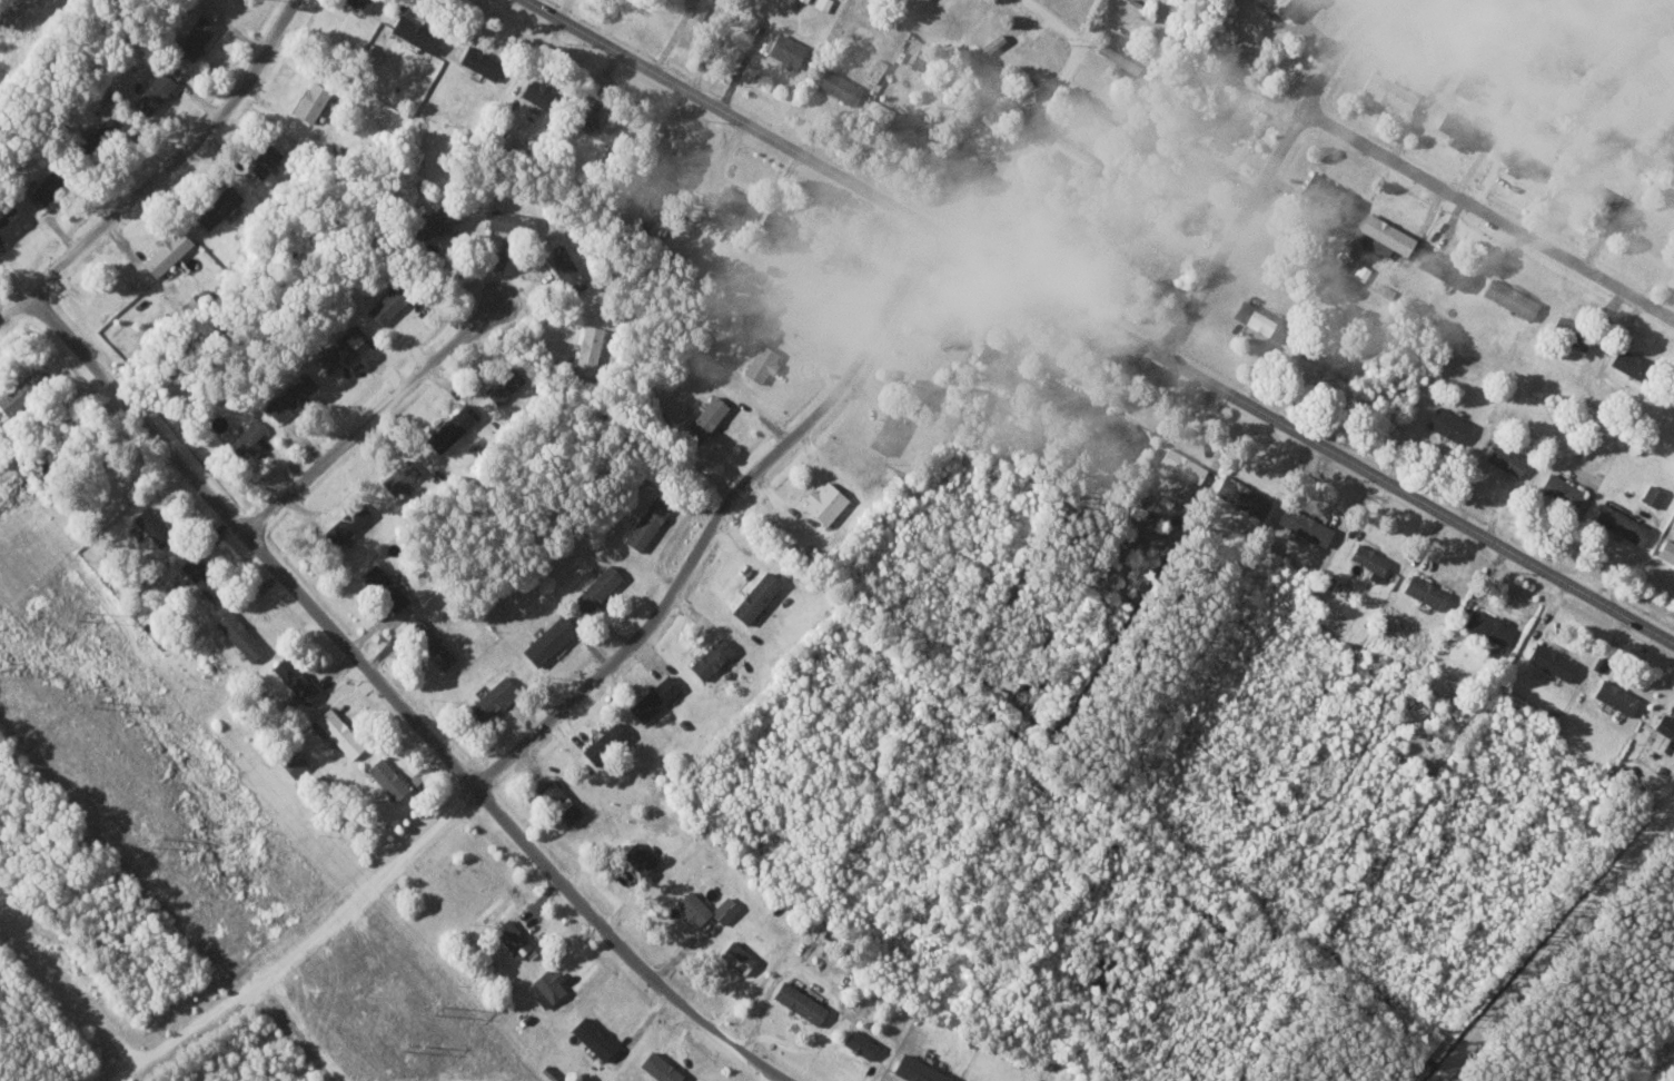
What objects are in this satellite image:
building: (804, 0)
building: (912, 2)
building: (358, 4)
building: (823, 4)
building: (684, 7)
building: (1297, 8)
building: (1141, 10)
road: (1663, 11)
building: (1594, 12)
road: (1060, 19)
building: (1502, 21)
building: (414, 33)
building: (1558, 34)
building: (864, 38)
building: (191, 39)
building: (1430, 44)
building: (982, 50)
building: (784, 51)
building: (1118, 59)
building: (479, 62)
building: (875, 70)
building: (172, 71)
building: (1643, 75)
building: (1464, 86)
building: (839, 87)
building: (1391, 92)
building: (152, 93)
building: (537, 95)
building: (309, 103)
building: (1505, 108)
building: (1598, 108)
building: (1503, 121)
building: (902, 125)
road: (1040, 125)
building: (595, 126)
building: (1226, 128)
building: (1462, 130)
building: (1538, 130)
building: (1562, 139)
road: (176, 156)
building: (261, 159)
road: (1272, 165)
building: (1524, 165)
building: (664, 166)
building: (43, 187)
building: (1196, 189)
building: (1595, 195)
building: (1330, 196)
building: (1037, 198)
building: (730, 200)
building: (215, 206)
road: (1490, 212)
building: (8, 218)
building: (434, 220)
building: (509, 220)
building: (775, 227)
building: (1389, 235)
building: (1656, 240)
building: (165, 251)
building: (841, 259)
building: (563, 268)
building: (1446, 270)
building: (1514, 299)
building: (387, 304)
road: (17, 308)
road: (1099, 320)
building: (1261, 320)
building: (937, 325)
building: (1573, 333)
building: (587, 346)
building: (339, 347)
building: (1327, 359)
building: (760, 363)
building: (1001, 363)
building: (1634, 365)
building: (502, 385)
building: (13, 395)
building: (289, 395)
building: (1061, 397)
road: (374, 418)
building: (704, 418)
building: (1450, 425)
building: (450, 427)
building: (885, 433)
building: (1122, 434)
building: (247, 436)
building: (1582, 453)
building: (1509, 459)
building: (1183, 465)
building: (398, 476)
building: (1563, 492)
building: (1244, 497)
building: (1654, 497)
building: (823, 500)
road: (721, 518)
building: (645, 523)
building: (345, 524)
building: (150, 525)
building: (1623, 525)
building: (1306, 527)
building: (1673, 527)
road: (255, 540)
building: (1667, 553)
building: (1369, 559)
building: (198, 576)
building: (383, 587)
building: (596, 588)
building: (1425, 591)
building: (754, 597)
power tower: (83, 615)
building: (1488, 627)
building: (237, 635)
building: (547, 639)
building: (429, 643)
building: (710, 657)
building: (1552, 662)
building: (294, 680)
building: (493, 696)
building: (653, 697)
building: (1616, 698)
power tower: (96, 702)
building: (1556, 711)
building: (1417, 712)
building: (1665, 726)
building: (337, 732)
building: (603, 741)
building: (294, 763)
building: (387, 780)
building: (558, 802)
power tower: (156, 844)
building: (638, 859)
building: (735, 900)
building: (694, 906)
building: (724, 910)
building: (513, 938)
road: (1549, 941)
road: (305, 945)
road: (625, 946)
building: (739, 958)
road: (69, 985)
building: (549, 985)
building: (799, 1002)
power tower: (439, 1009)
building: (594, 1038)
building: (858, 1043)
power tower: (407, 1045)
building: (658, 1068)
building: (917, 1070)

